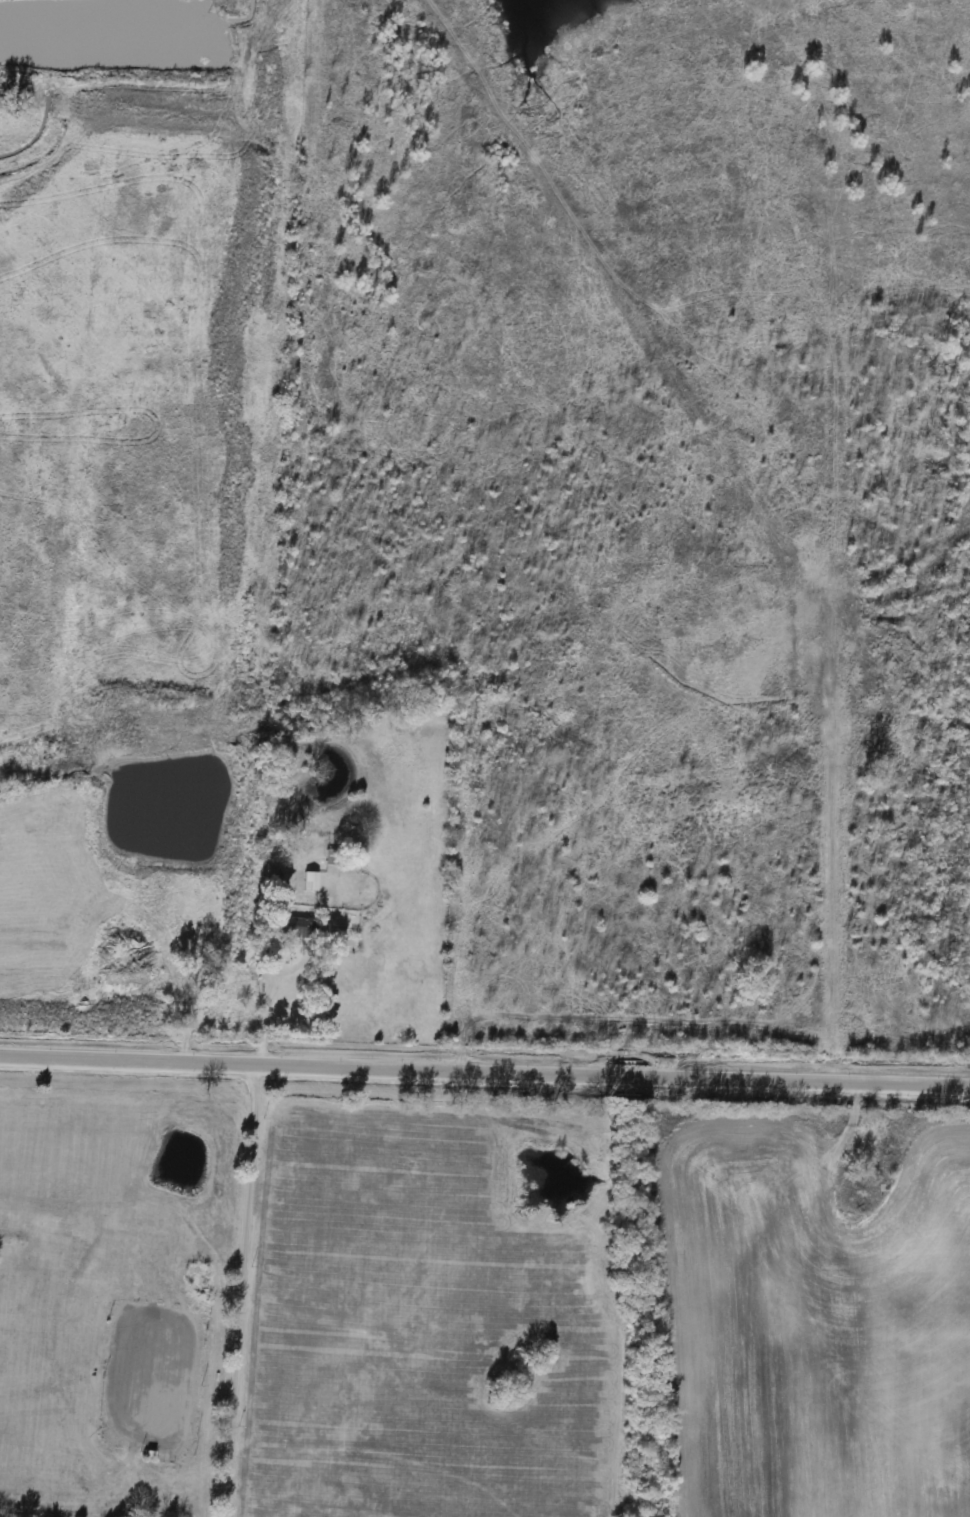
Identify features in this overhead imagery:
building: (335, 864)
building: (307, 881)
road: (266, 1011)
road: (484, 1068)
road: (242, 1289)

